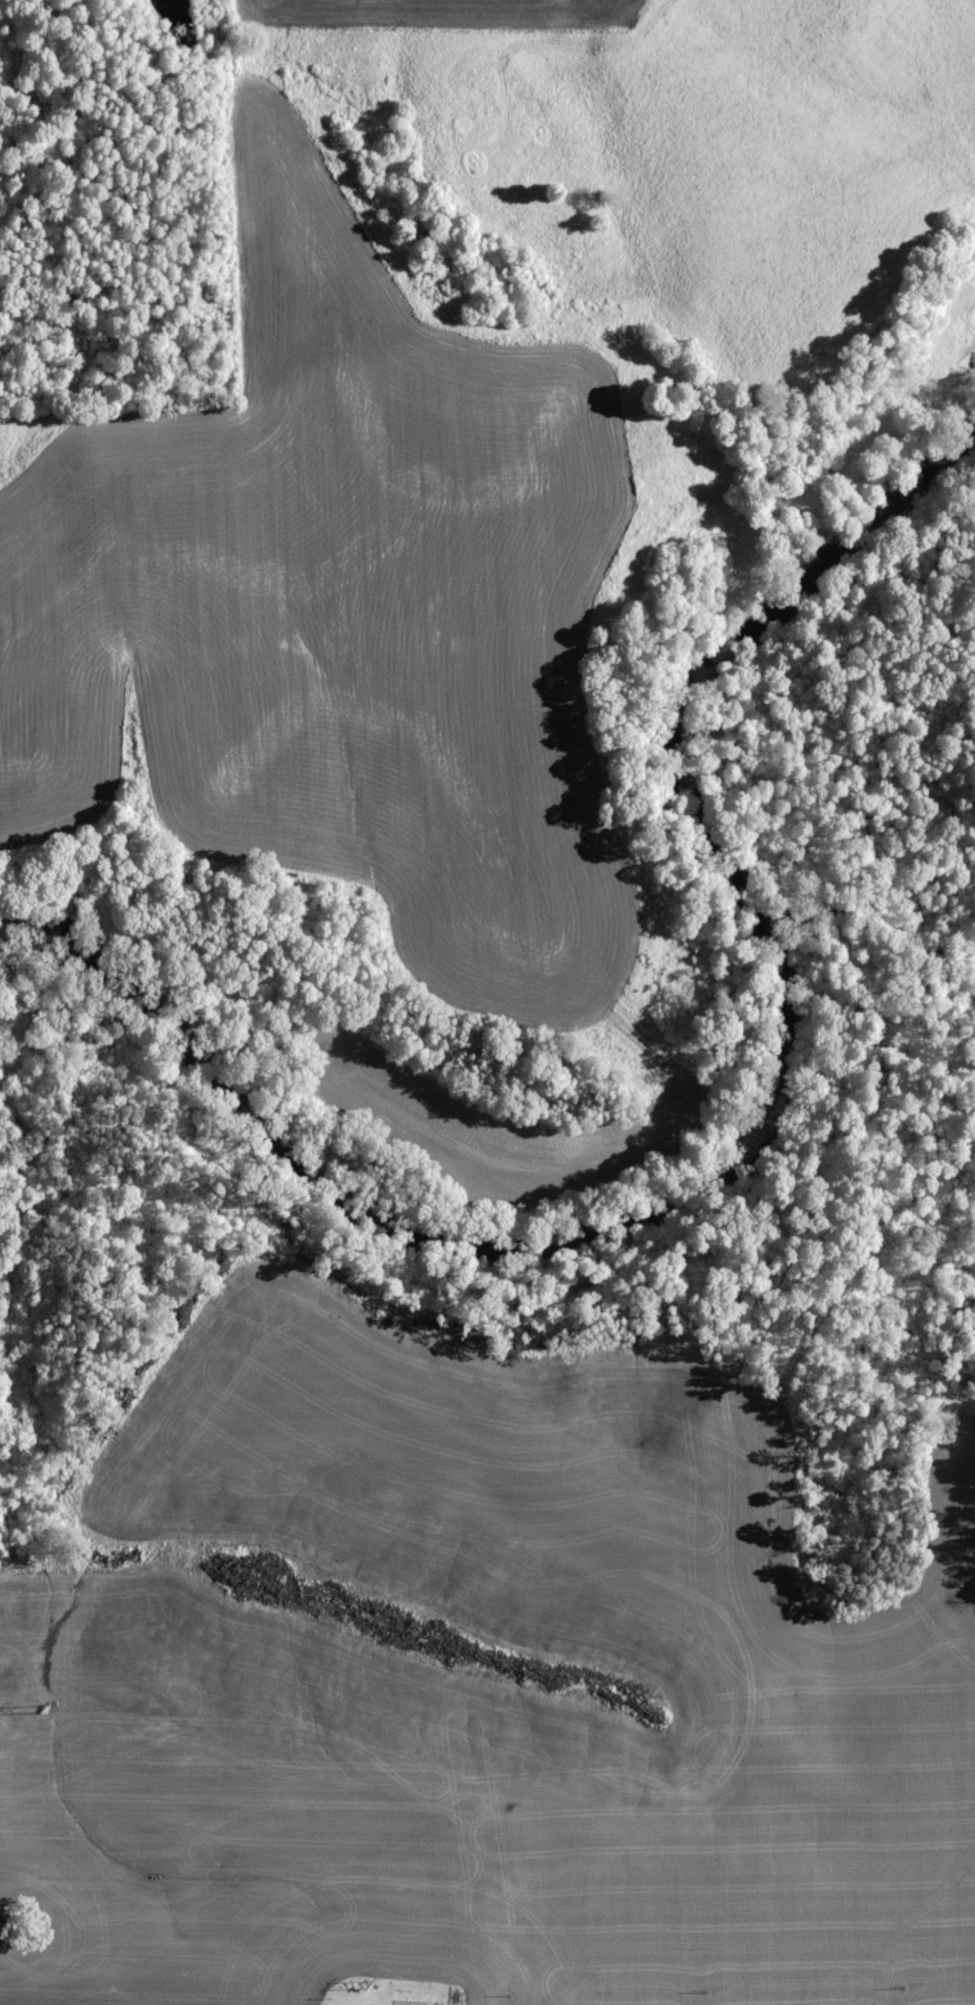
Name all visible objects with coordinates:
river: (741, 1126)

